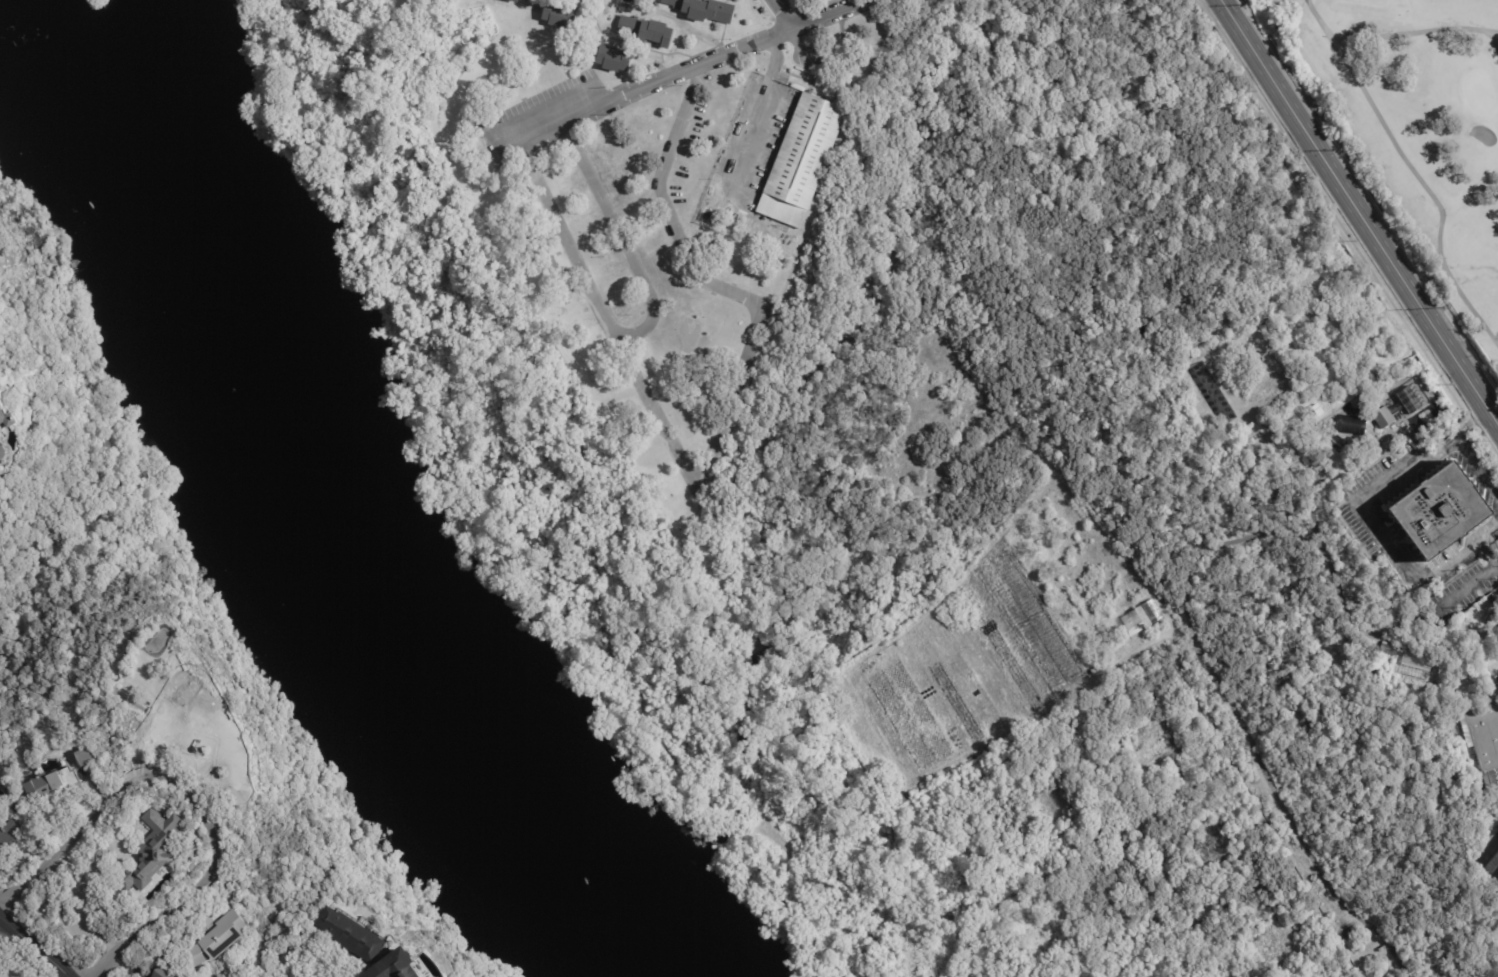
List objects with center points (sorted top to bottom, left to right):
building: (603, 0)
building: (613, 0)
building: (516, 1)
park: (95, 2)
building: (704, 9)
road: (785, 13)
road: (828, 14)
building: (559, 15)
building: (646, 31)
road: (1414, 32)
road: (1497, 33)
road: (1496, 41)
building: (614, 58)
road: (701, 64)
park: (1477, 95)
road: (762, 111)
road: (560, 114)
park: (1416, 124)
building: (801, 159)
road: (1413, 171)
road: (1358, 213)
road: (619, 234)
building: (1, 393)
building: (1400, 406)
building: (7, 418)
building: (1352, 425)
road: (716, 436)
building: (2, 453)
road: (1476, 473)
building: (1442, 512)
road: (1378, 519)
river: (303, 534)
road: (1487, 554)
road: (1497, 568)
road: (1470, 587)
building: (1487, 604)
building: (1146, 615)
building: (1032, 621)
building: (1387, 647)
building: (1416, 667)
building: (1095, 671)
building: (191, 689)
building: (210, 738)
building: (1484, 738)
building: (83, 756)
building: (973, 758)
building: (50, 783)
building: (928, 784)
building: (916, 792)
building: (904, 799)
road: (90, 813)
building: (7, 833)
building: (151, 852)
building: (1490, 858)
road: (83, 900)
road: (176, 901)
building: (347, 935)
building: (215, 937)
road: (33, 948)
building: (393, 966)
building: (162, 972)

